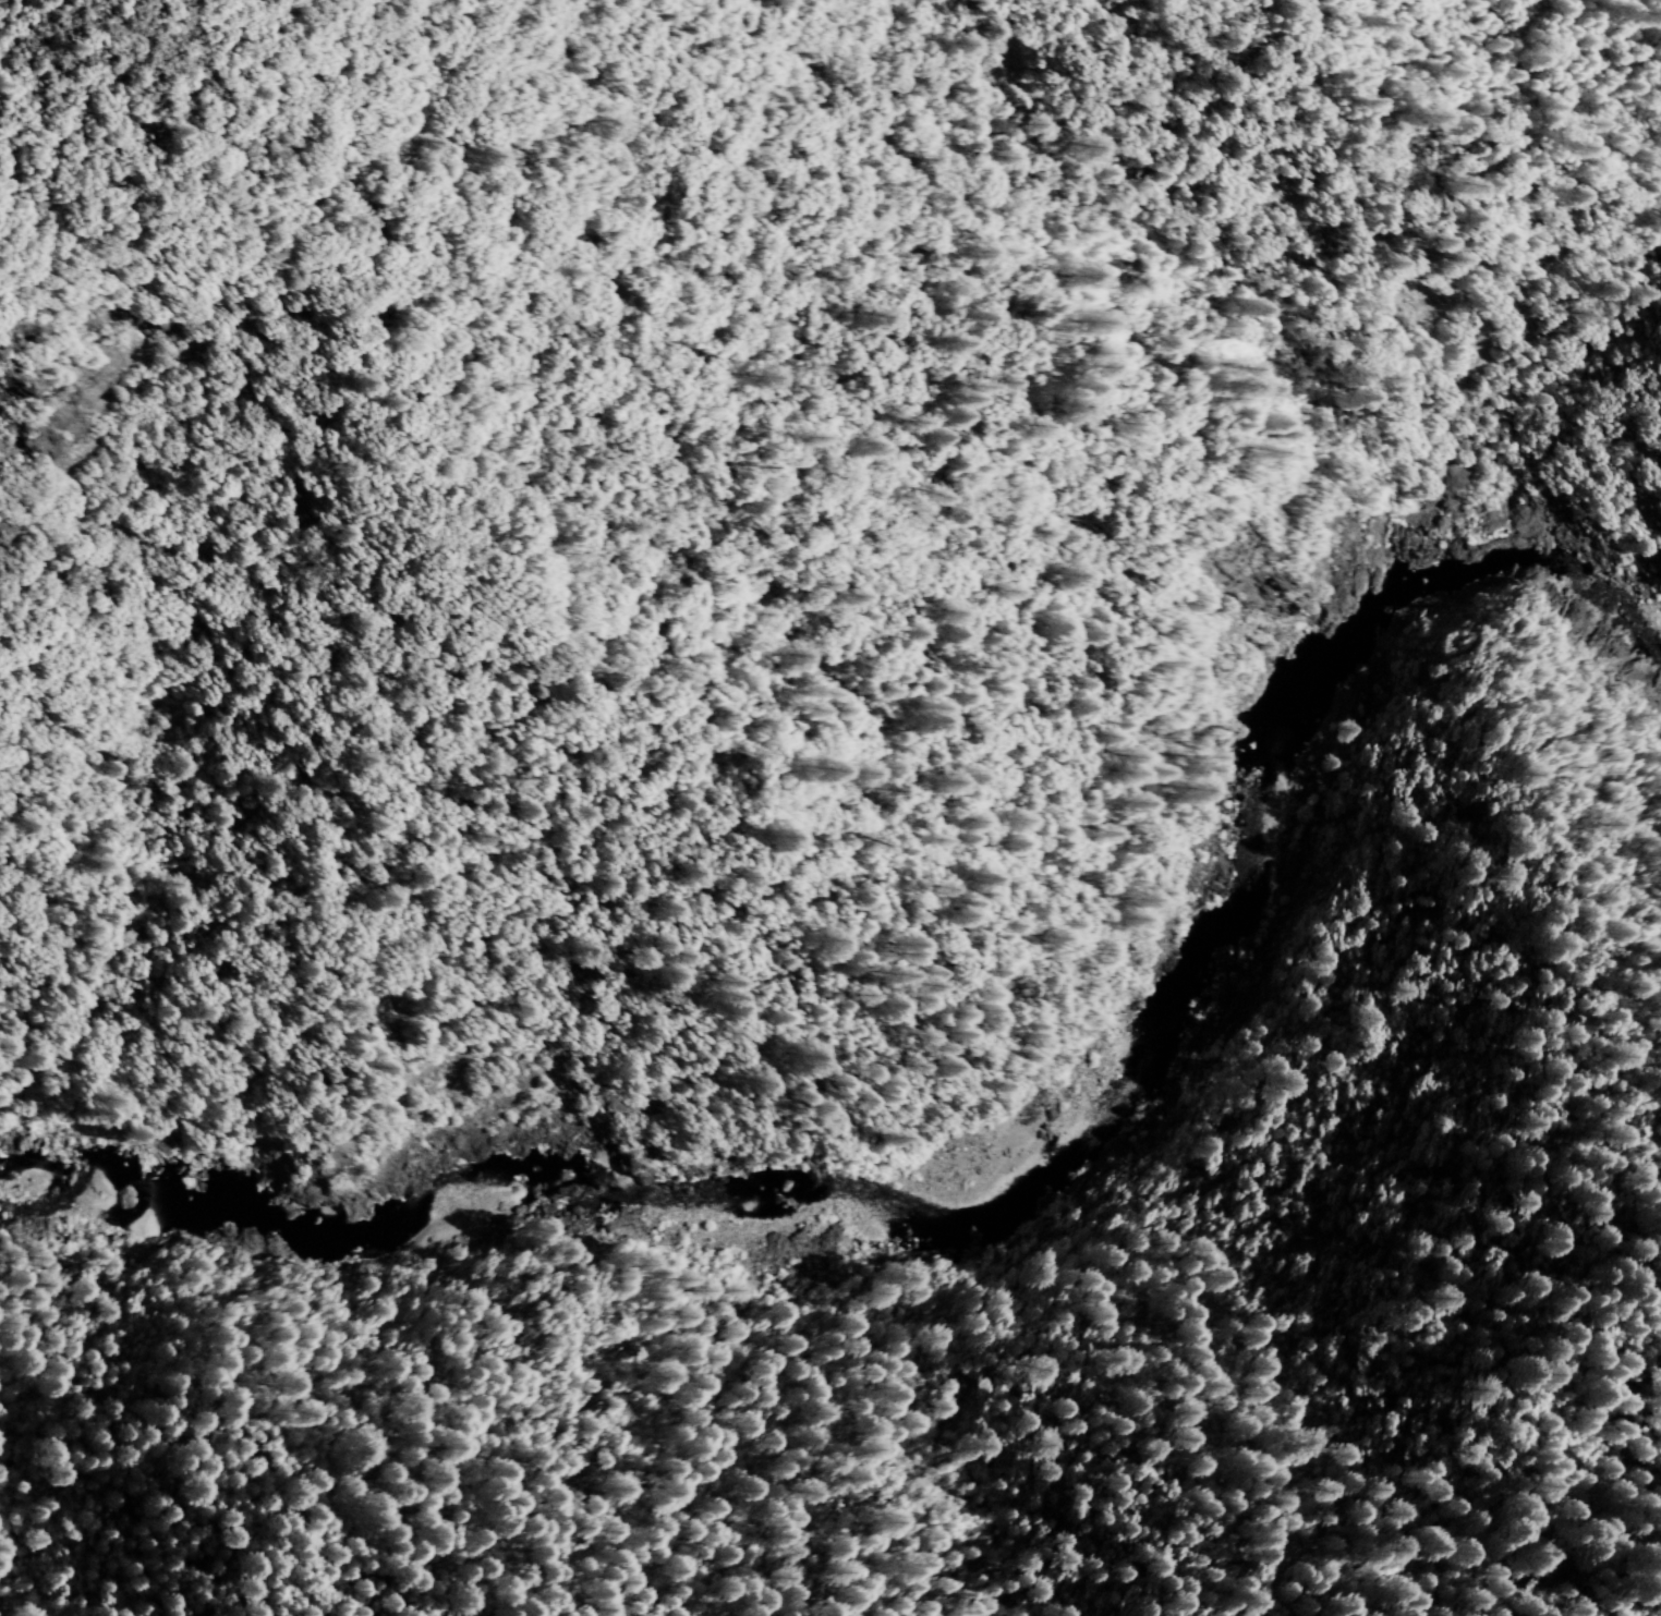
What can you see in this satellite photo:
park: (1458, 85)
park: (573, 337)
river: (1404, 573)
river: (1560, 590)
river: (1322, 676)
river: (1257, 817)
road: (975, 941)
river: (1191, 956)
river: (1149, 1035)
river: (1057, 1152)
river: (1015, 1190)
river: (47, 1229)
river: (347, 1232)
river: (766, 1246)
park: (1466, 1461)

